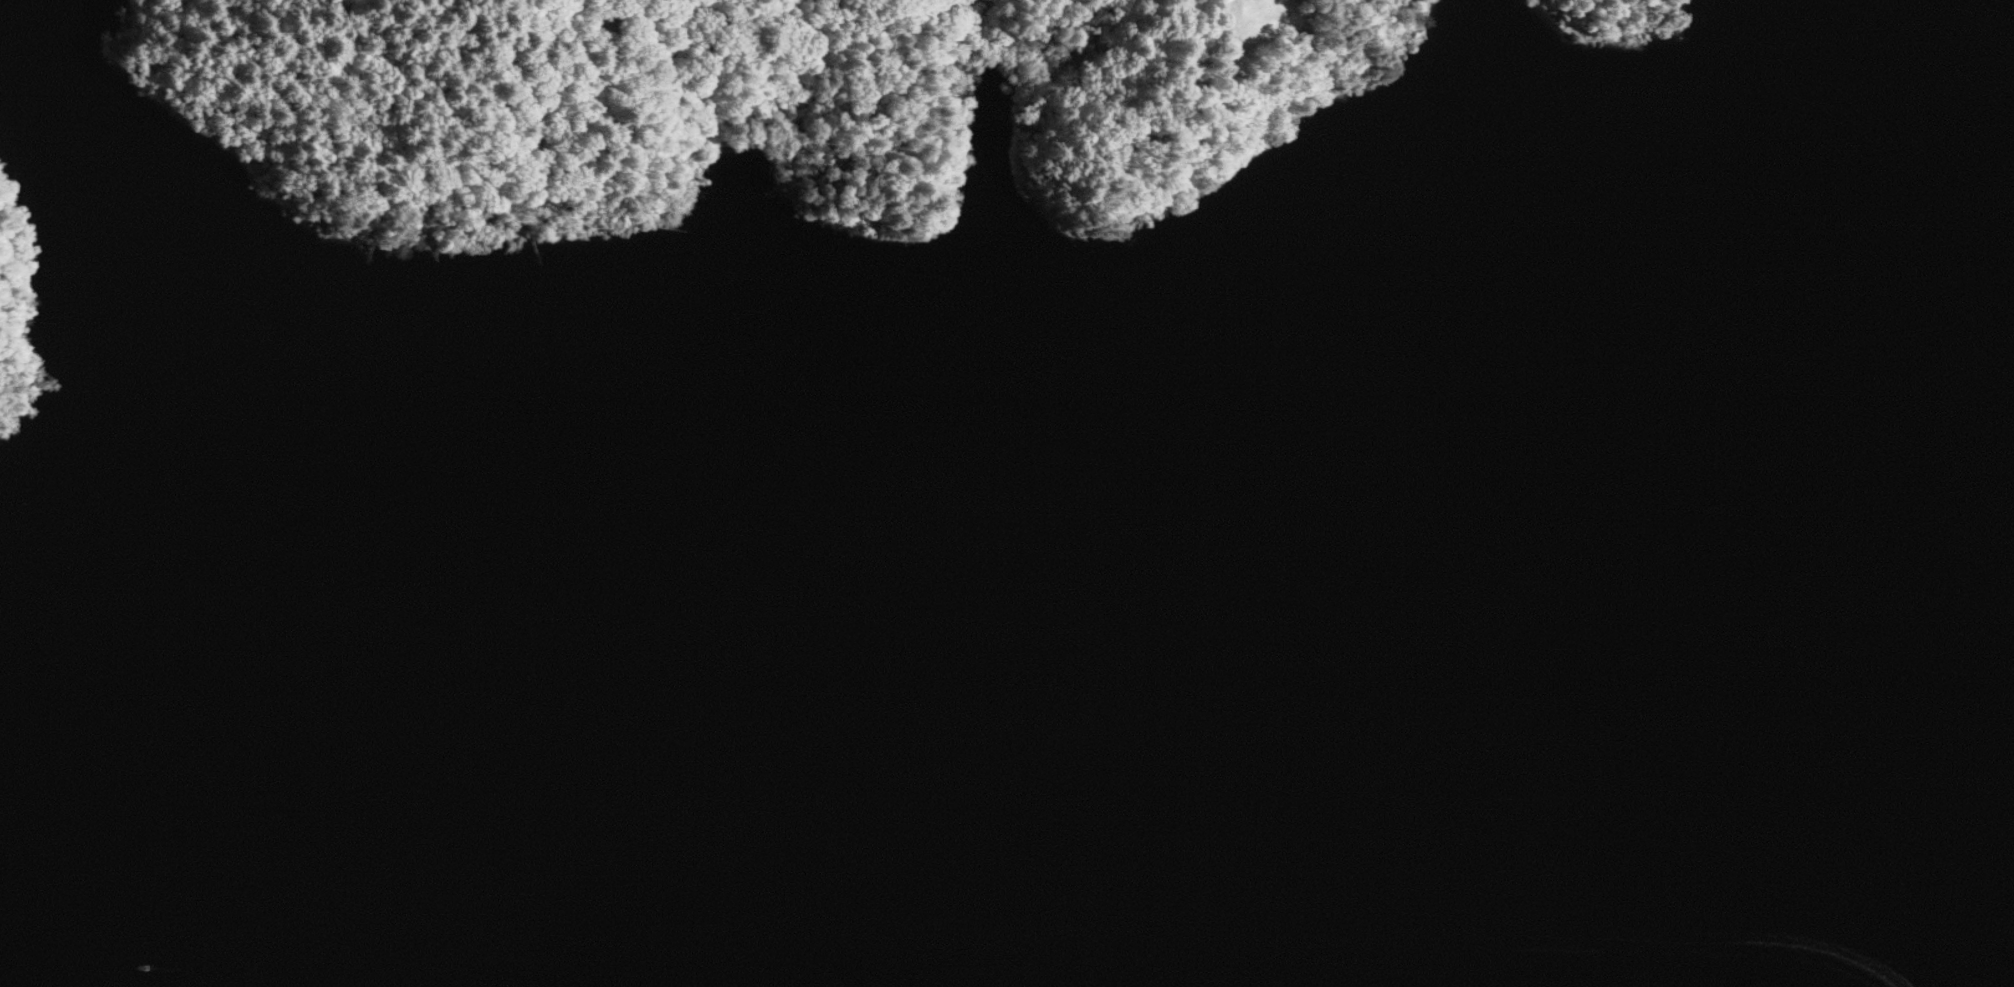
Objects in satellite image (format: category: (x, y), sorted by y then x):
building: (1245, 0)
building: (1224, 2)
river: (1017, 640)

